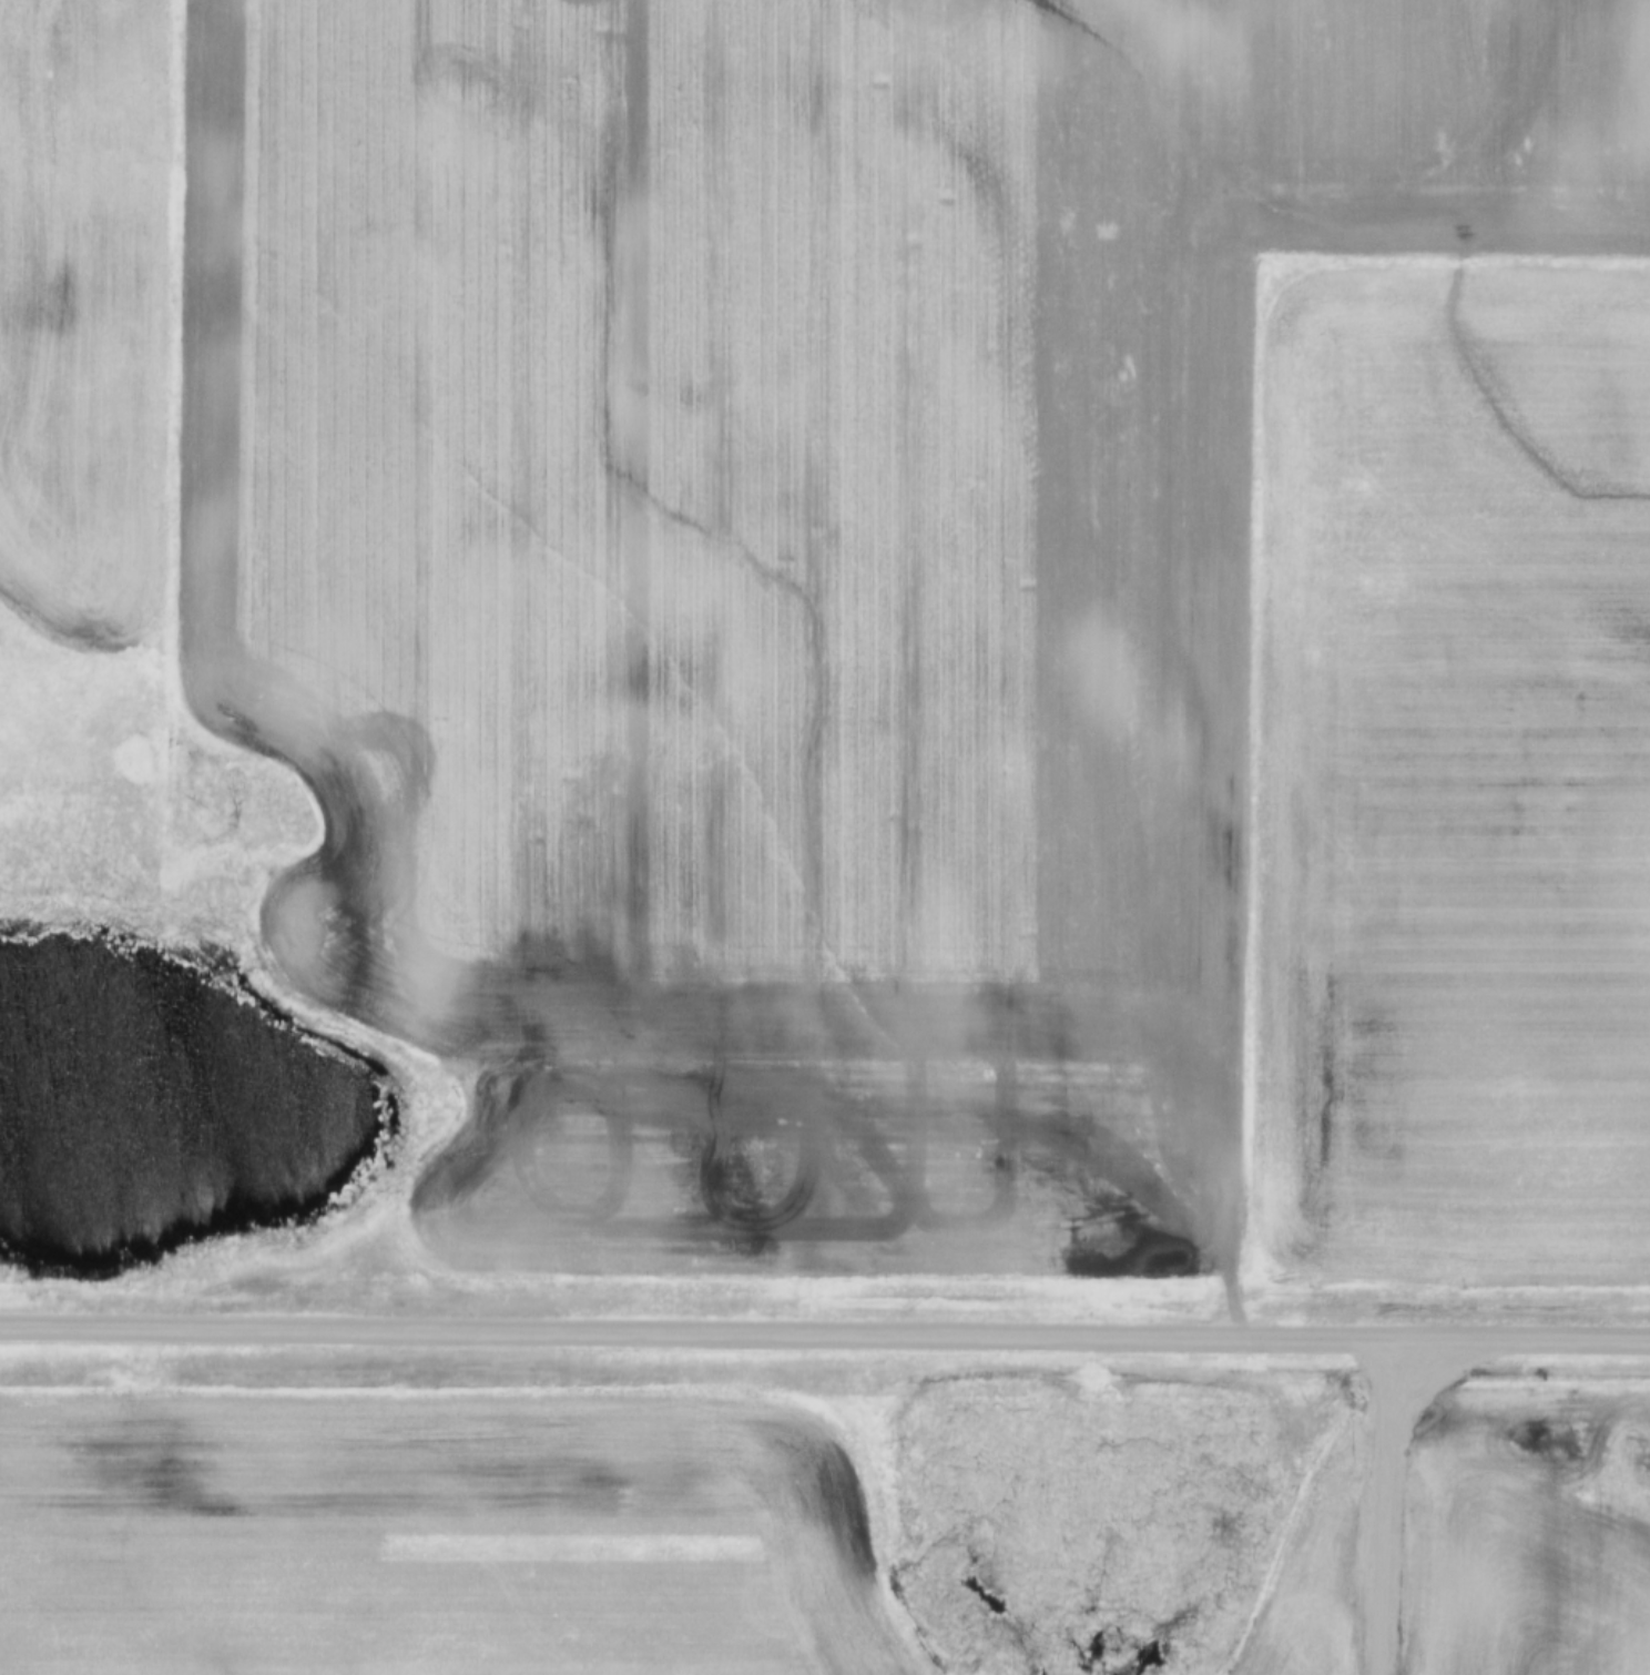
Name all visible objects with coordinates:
road: (824, 1339)

